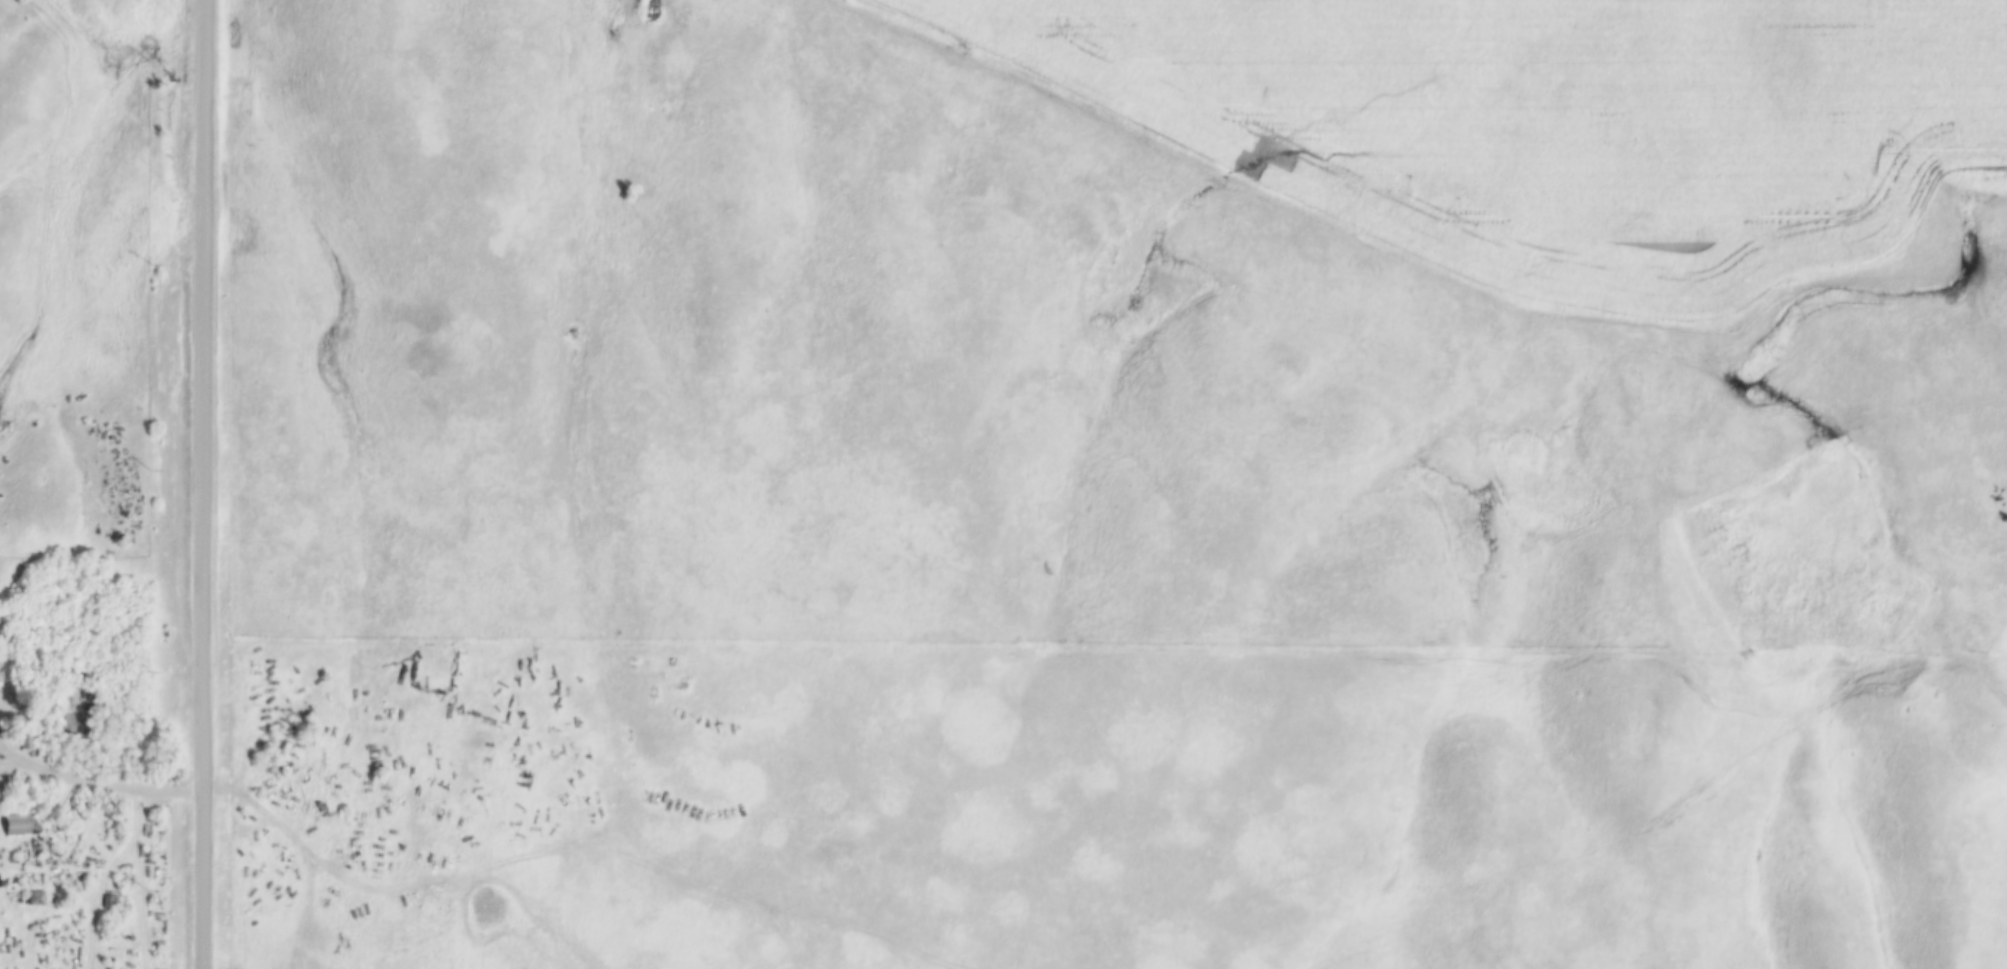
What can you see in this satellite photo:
road: (202, 484)
building: (76, 713)
building: (24, 734)
road: (99, 786)
building: (13, 826)
building: (34, 899)

